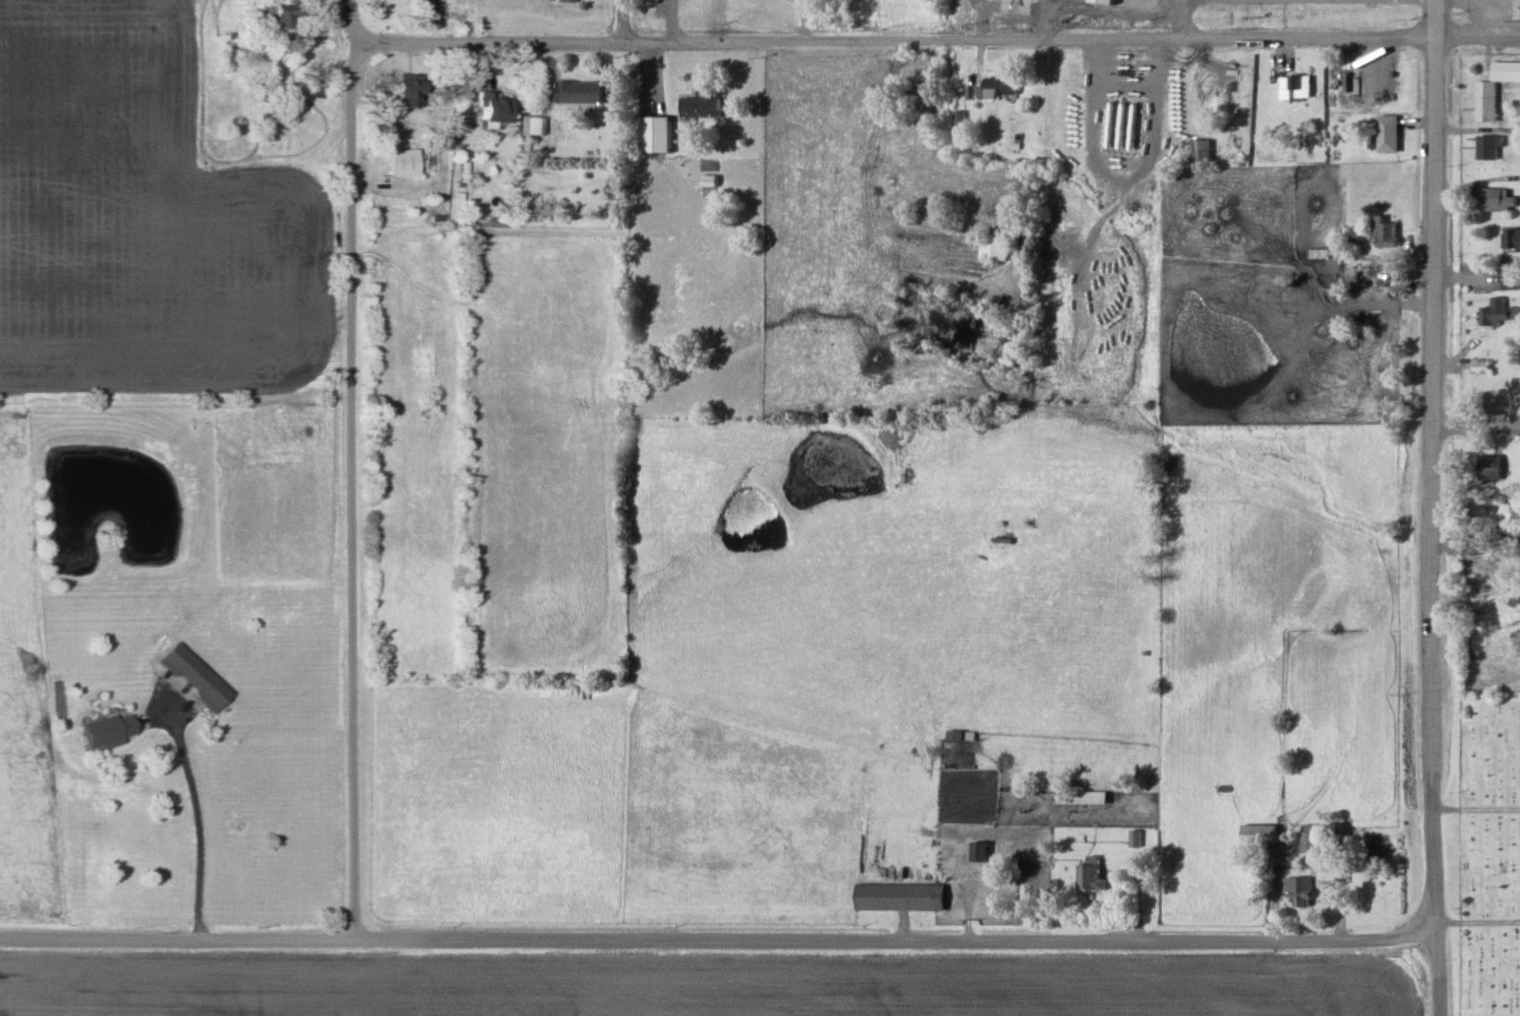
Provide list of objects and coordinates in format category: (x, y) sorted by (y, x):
building: (563, 1)
building: (1102, 1)
building: (277, 15)
road: (1430, 16)
road: (1178, 18)
road: (619, 19)
road: (347, 25)
road: (1069, 38)
road: (484, 40)
road: (620, 63)
road: (349, 69)
building: (485, 79)
building: (1342, 82)
building: (998, 86)
building: (1292, 87)
building: (1492, 88)
building: (579, 91)
building: (409, 93)
building: (697, 103)
building: (461, 107)
building: (495, 109)
building: (1119, 125)
building: (655, 133)
building: (1384, 134)
building: (1485, 147)
building: (1197, 151)
building: (403, 166)
building: (1496, 200)
building: (1381, 231)
building: (1509, 240)
building: (992, 248)
building: (1505, 278)
building: (1496, 312)
building: (1476, 367)
road: (1473, 427)
building: (1488, 467)
road: (1425, 480)
road: (350, 513)
building: (1513, 514)
building: (995, 542)
building: (202, 684)
building: (108, 731)
building: (1081, 795)
road: (1474, 808)
road: (195, 825)
building: (1259, 835)
building: (1134, 837)
building: (1307, 839)
building: (977, 850)
park: (1481, 854)
building: (1090, 873)
building: (1297, 890)
building: (897, 895)
road: (1473, 925)
road: (713, 938)
road: (1429, 971)

